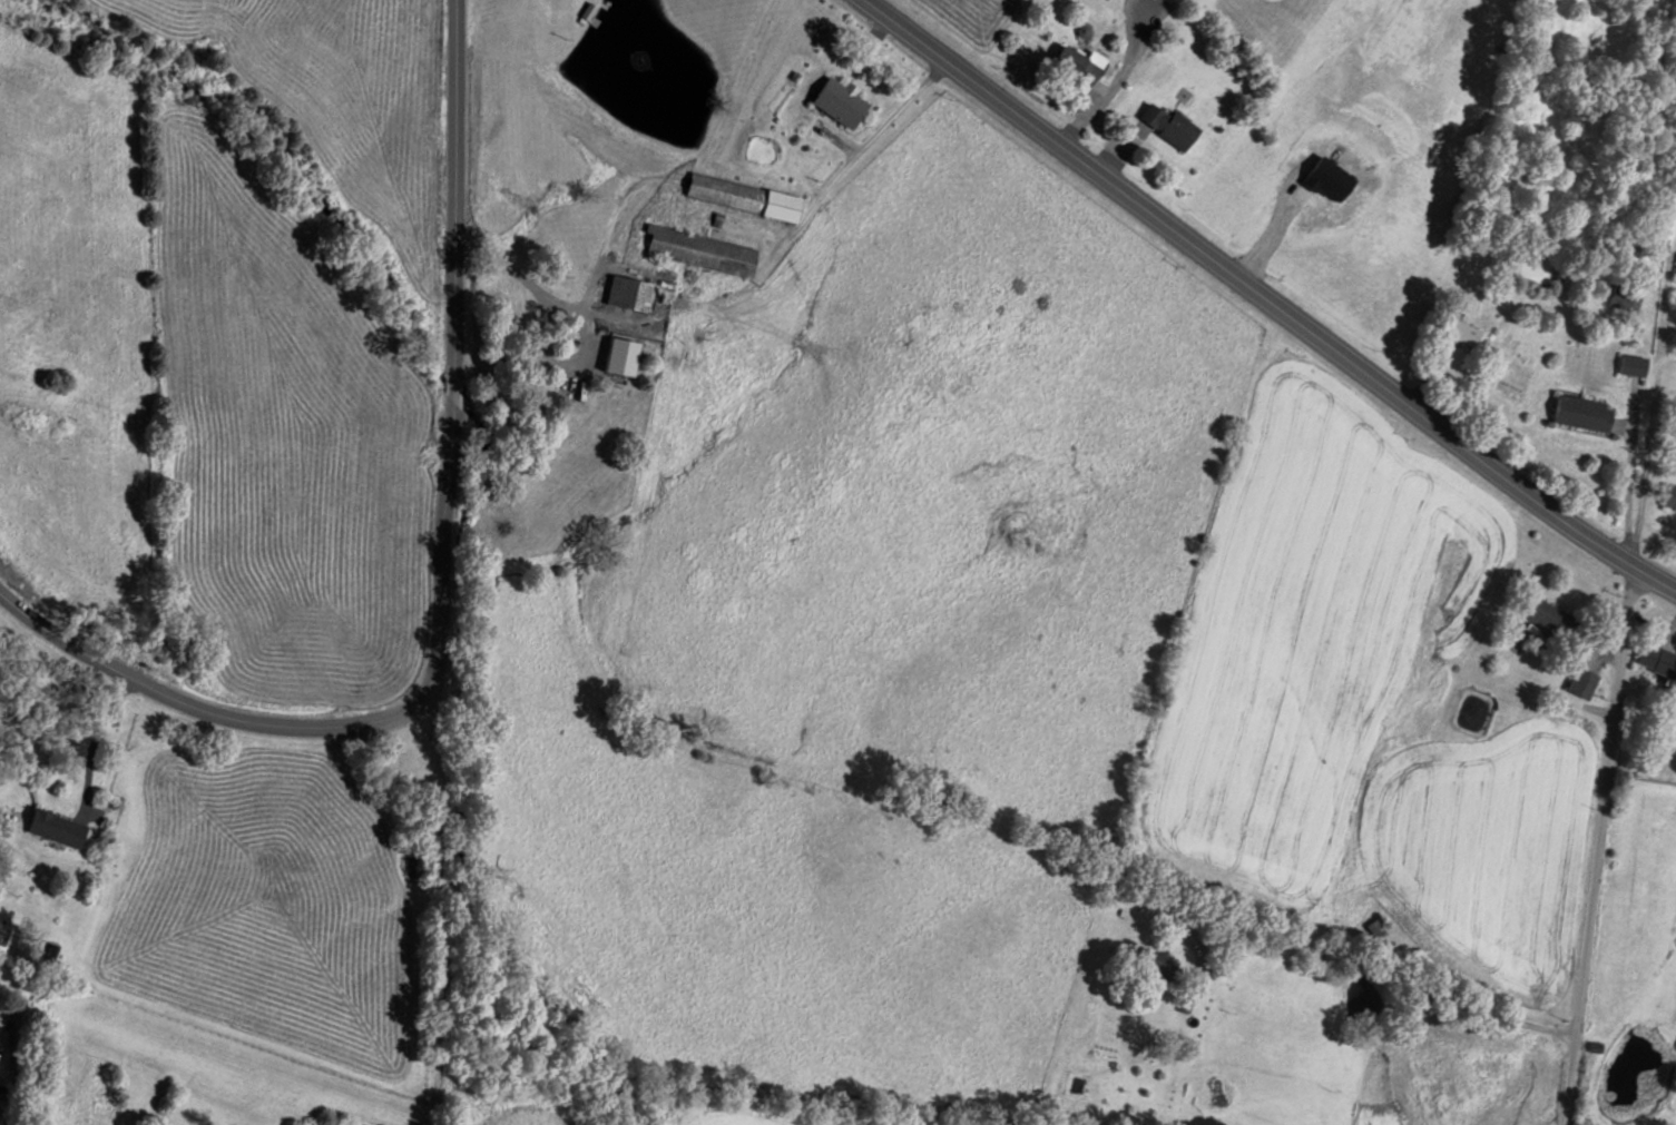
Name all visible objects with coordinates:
building: (1084, 62)
building: (844, 100)
building: (1172, 124)
road: (852, 152)
building: (746, 197)
building: (703, 250)
building: (631, 293)
building: (1627, 296)
road: (1268, 299)
road: (575, 313)
building: (1635, 365)
building: (581, 408)
building: (1586, 413)
building: (1670, 497)
road: (457, 604)
building: (1554, 620)
building: (1659, 659)
building: (1586, 682)
road: (405, 806)
building: (60, 828)
road: (1603, 847)
building: (1157, 966)
road: (1339, 968)
road: (411, 998)

